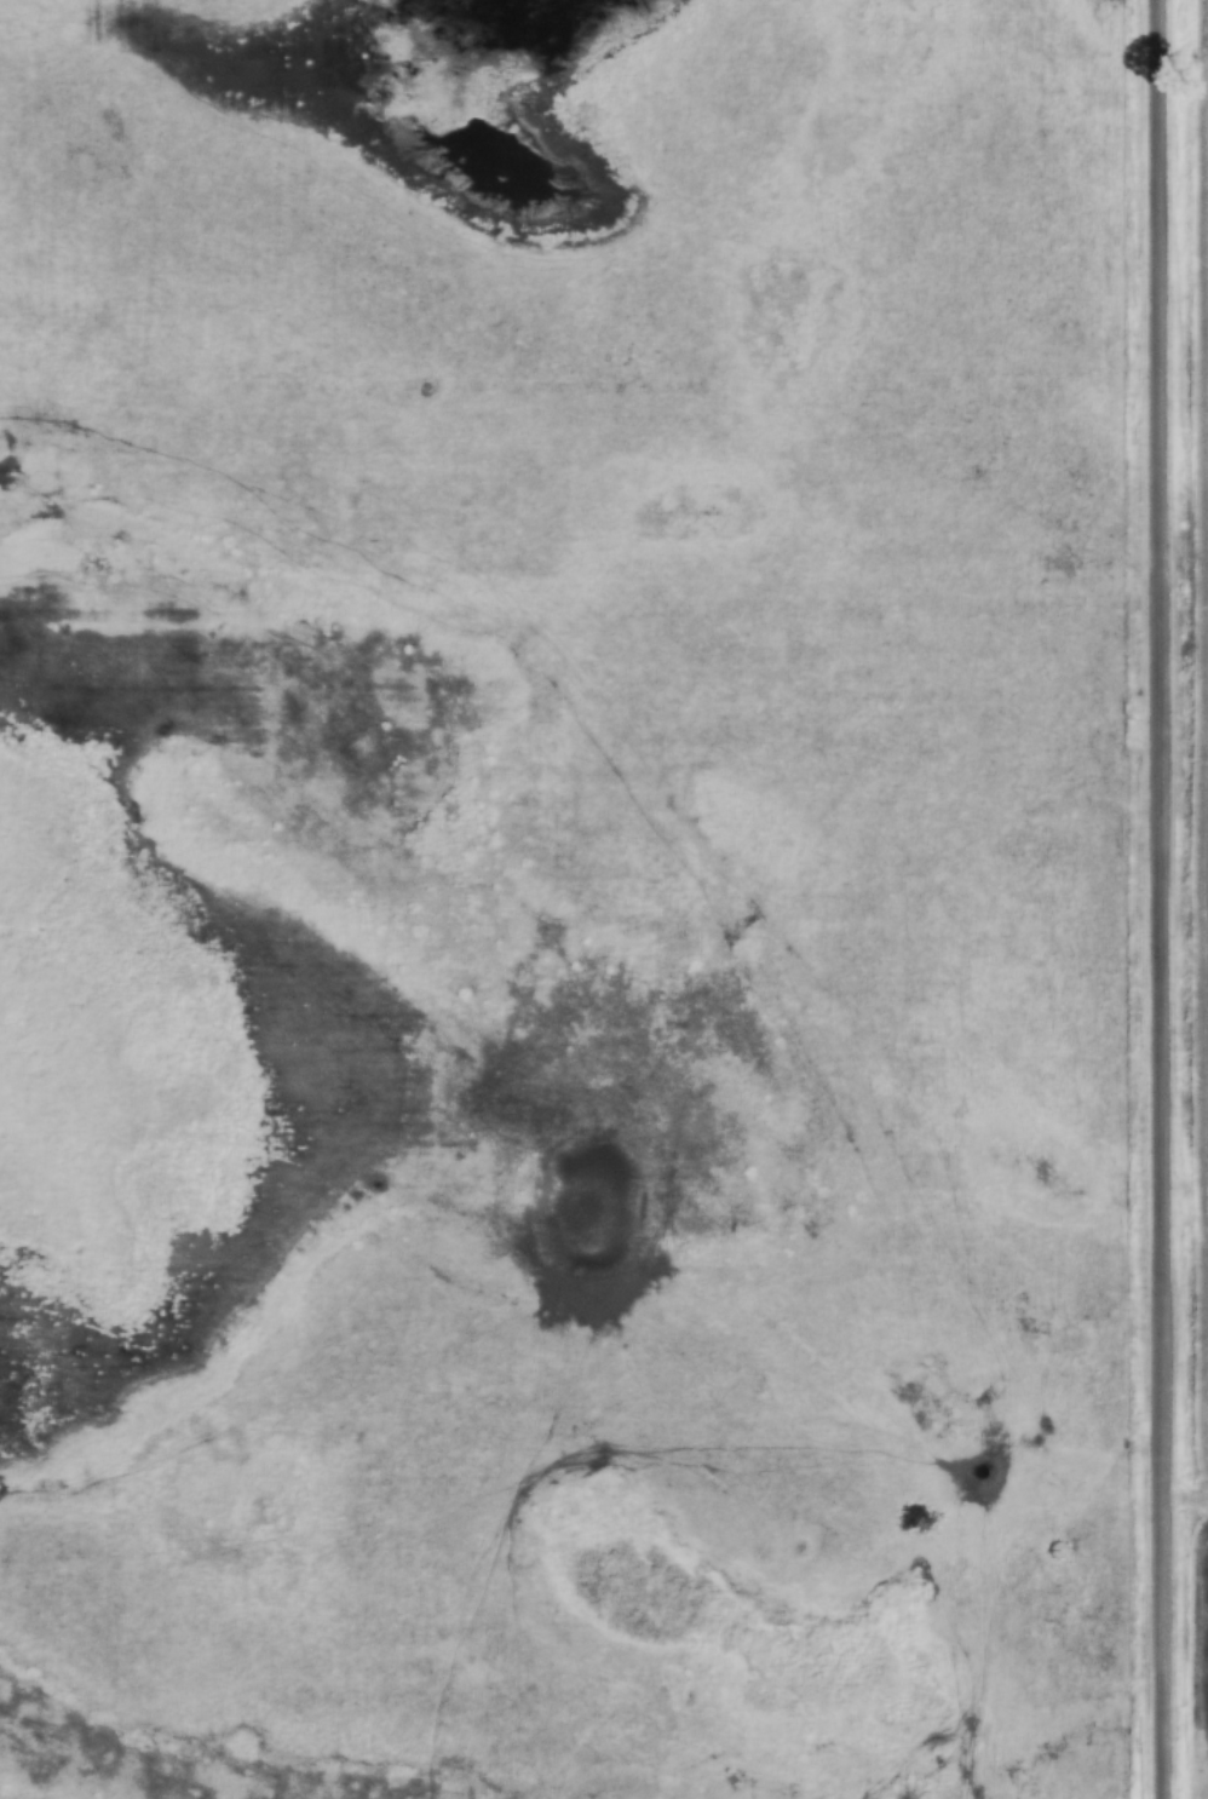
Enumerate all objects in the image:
road: (1158, 898)
building: (1078, 1345)

